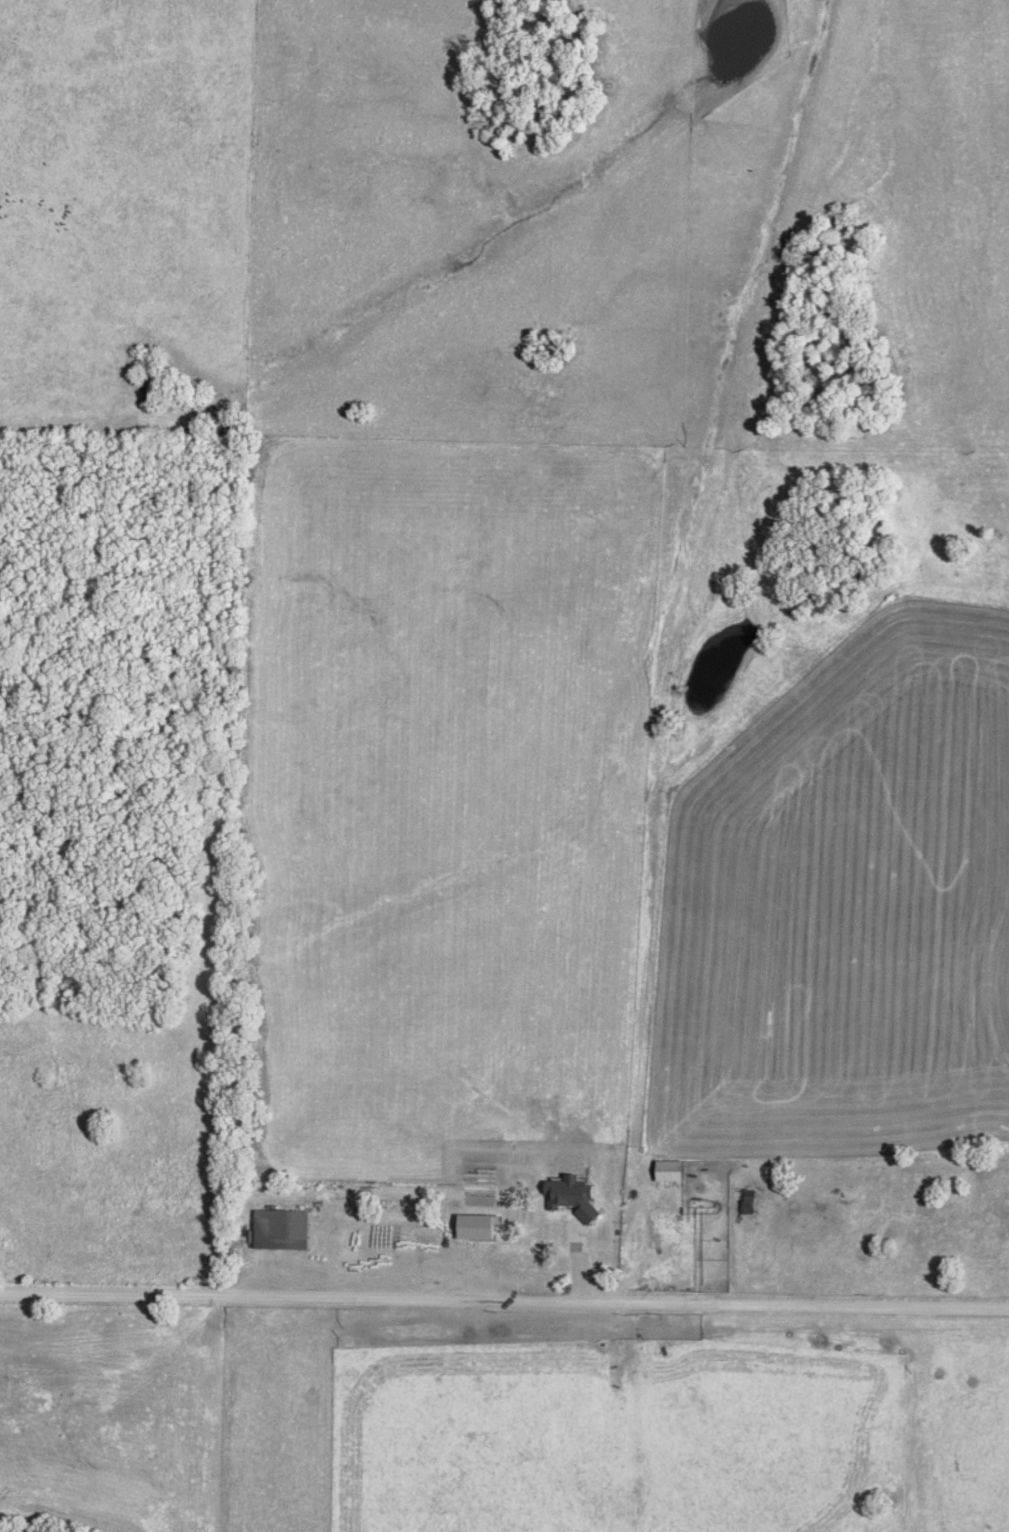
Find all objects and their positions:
building: (672, 1171)
building: (748, 1201)
building: (479, 1227)
building: (560, 1228)
building: (284, 1230)
road: (504, 1306)

